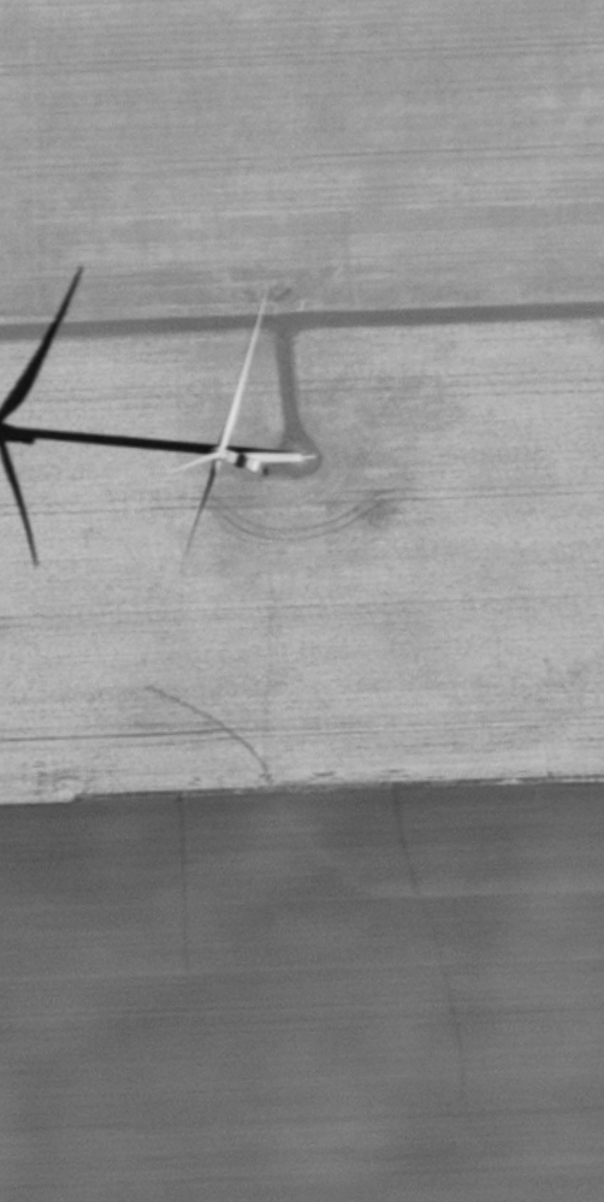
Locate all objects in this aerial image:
wind turbine: (301, 462)

